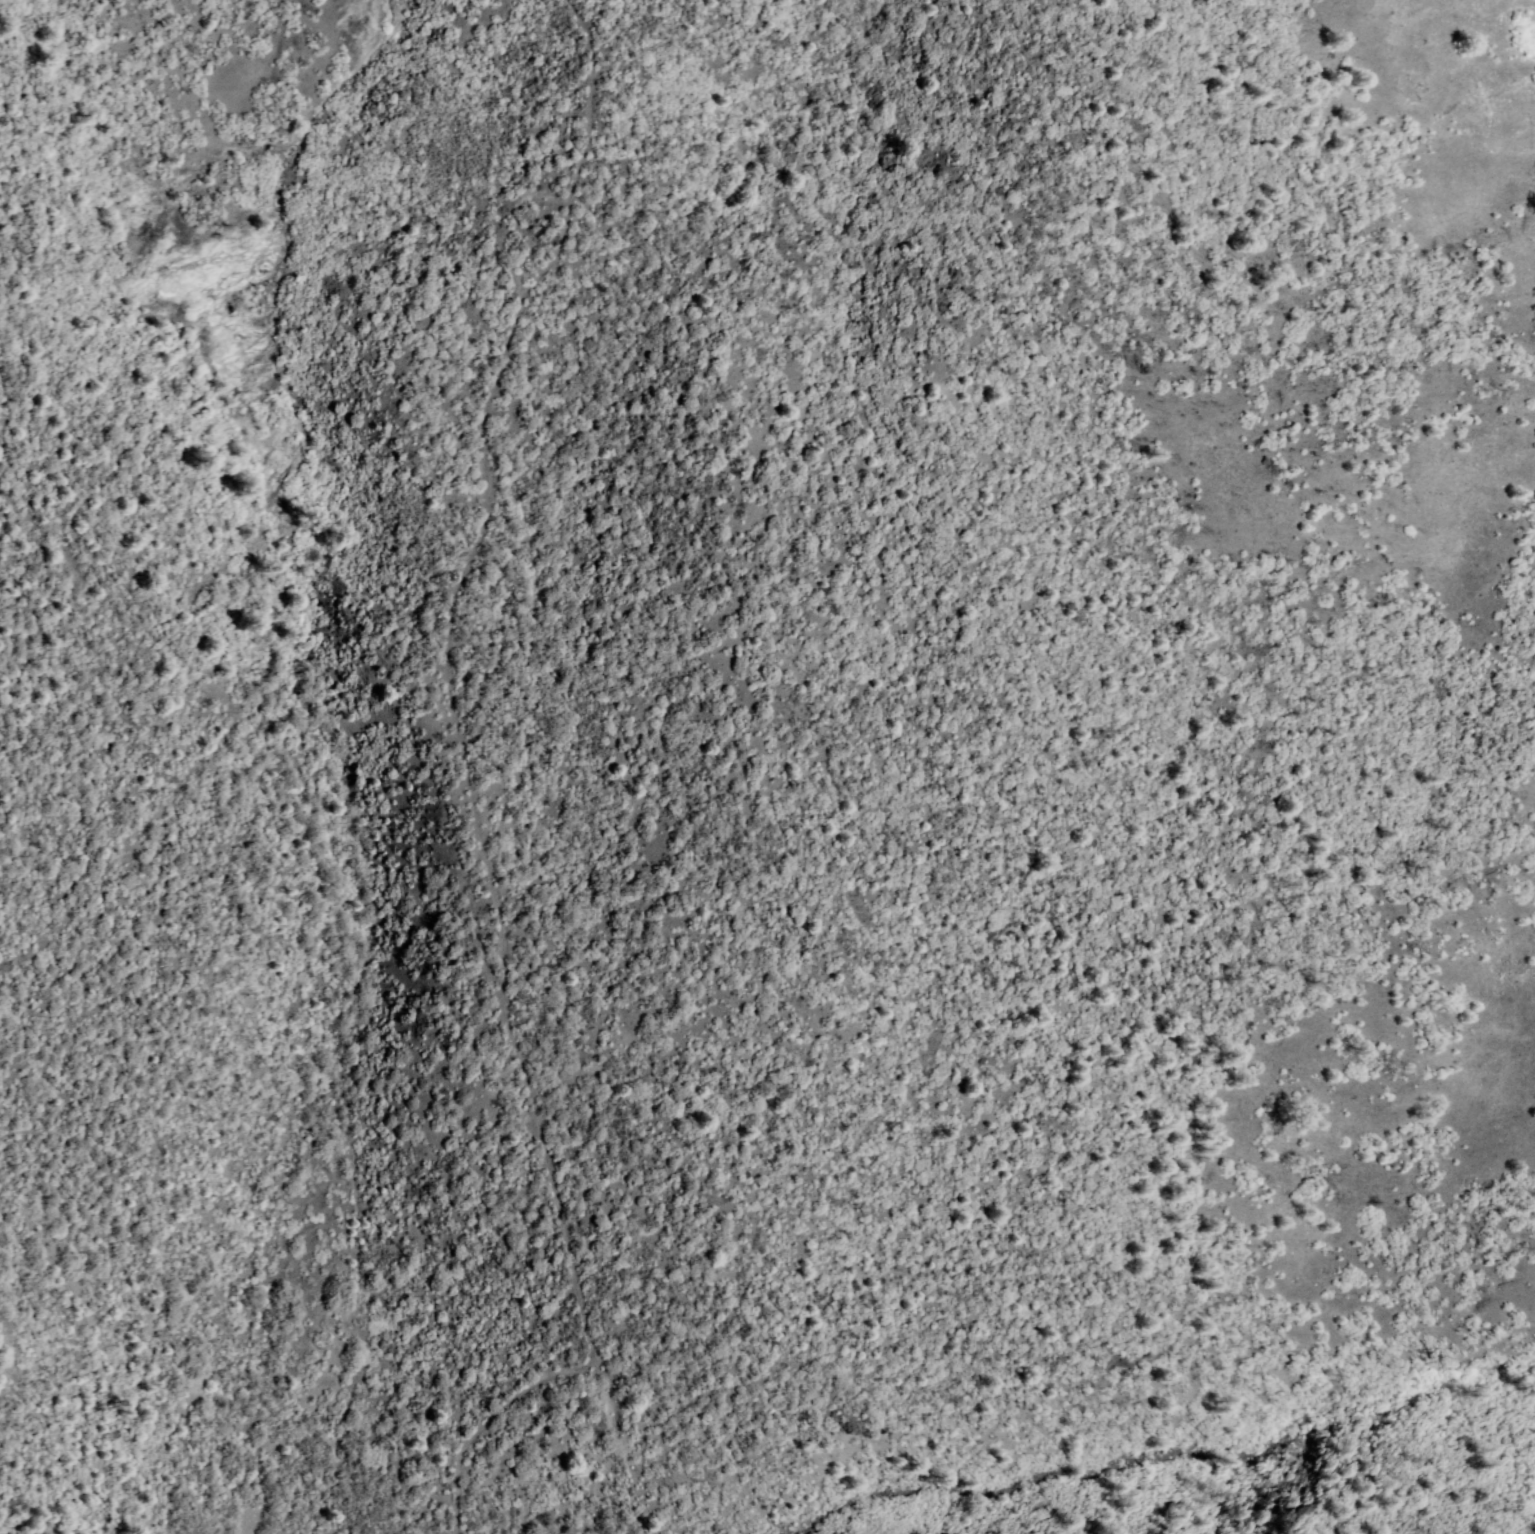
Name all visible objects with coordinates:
road: (97, 1358)

